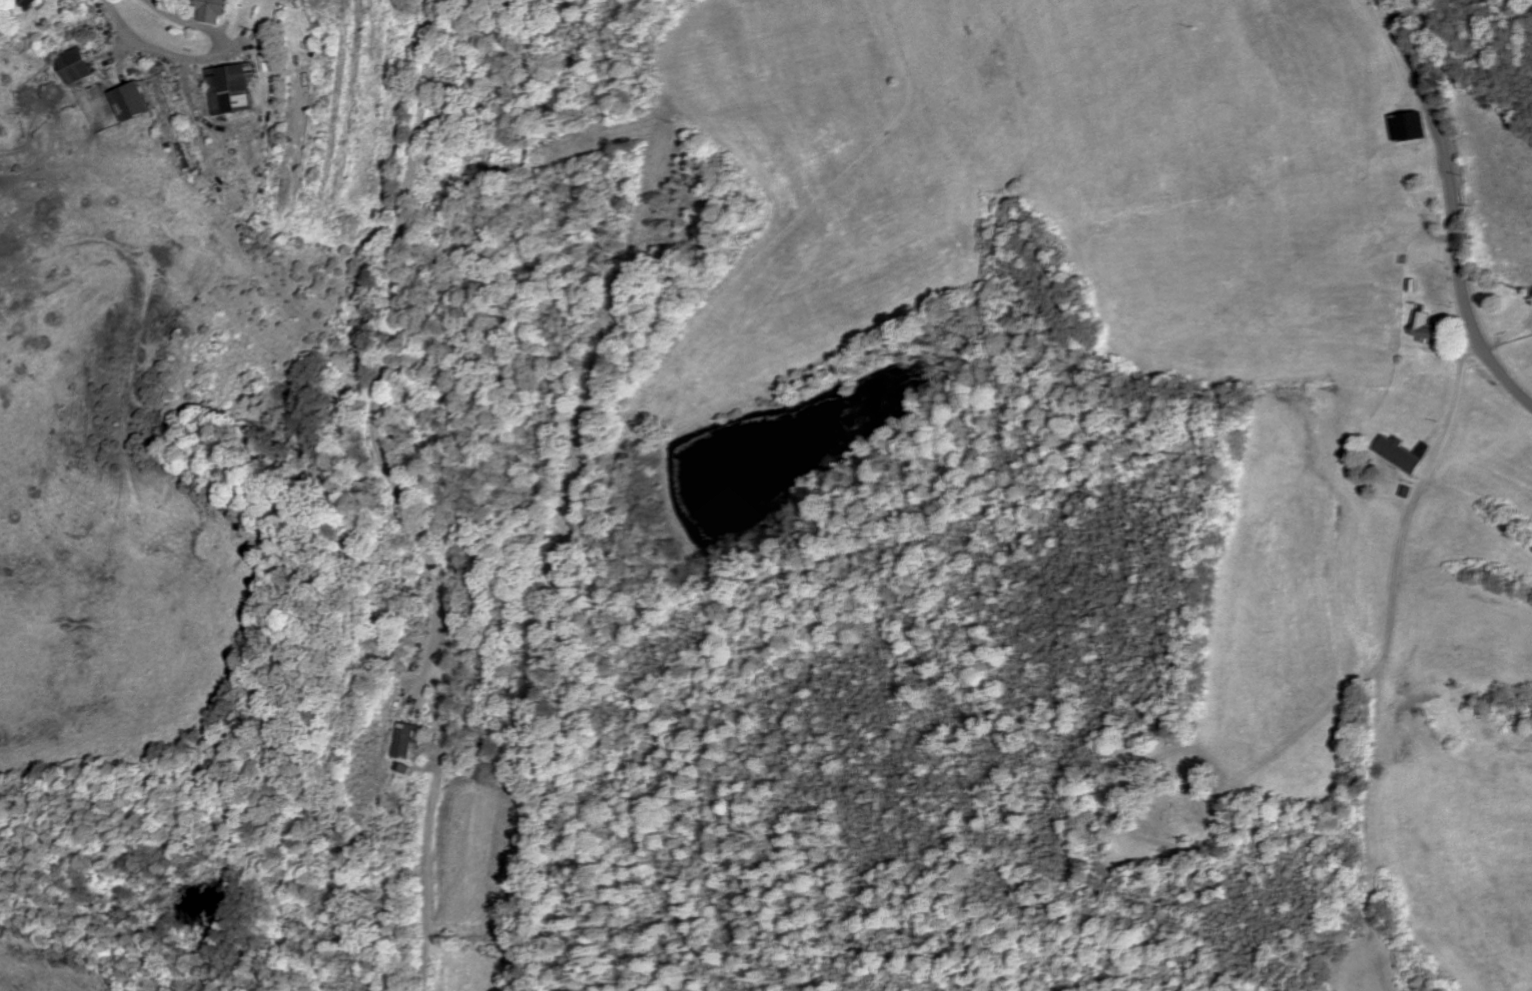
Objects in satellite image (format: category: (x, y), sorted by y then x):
building: (215, 11)
road: (195, 59)
building: (81, 66)
building: (234, 90)
building: (135, 104)
building: (1406, 127)
road: (1454, 208)
building: (1423, 328)
building: (1398, 455)
road: (401, 494)
road: (1395, 590)
building: (405, 741)

